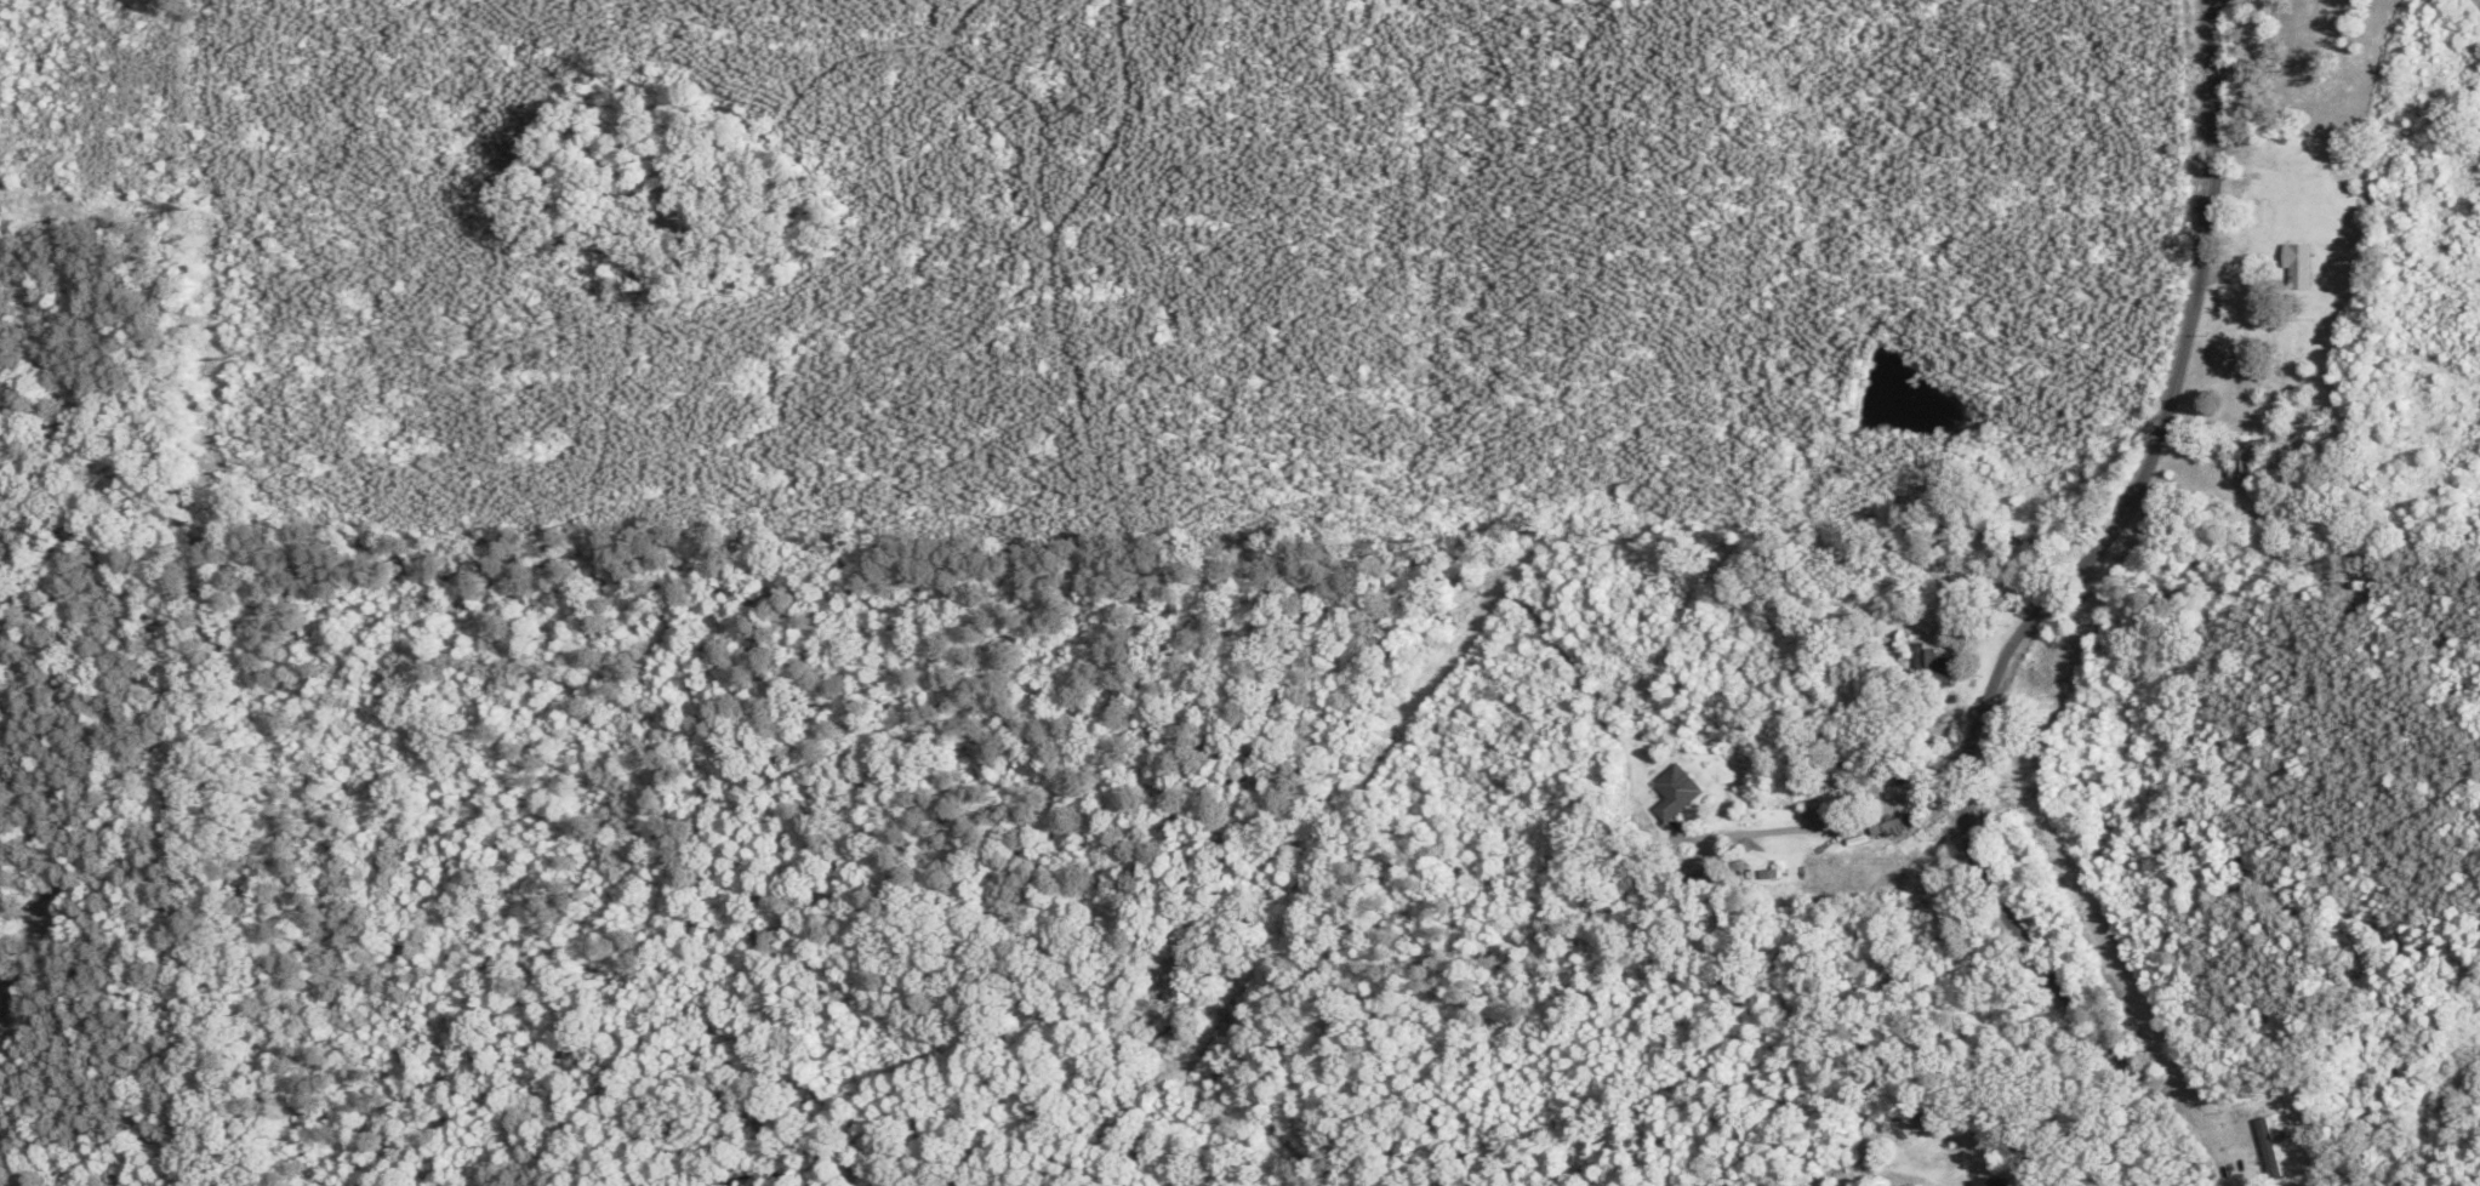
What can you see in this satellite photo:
building: (2292, 263)
building: (2241, 456)
road: (2064, 621)
building: (1669, 791)
building: (1883, 828)
building: (1989, 1184)

